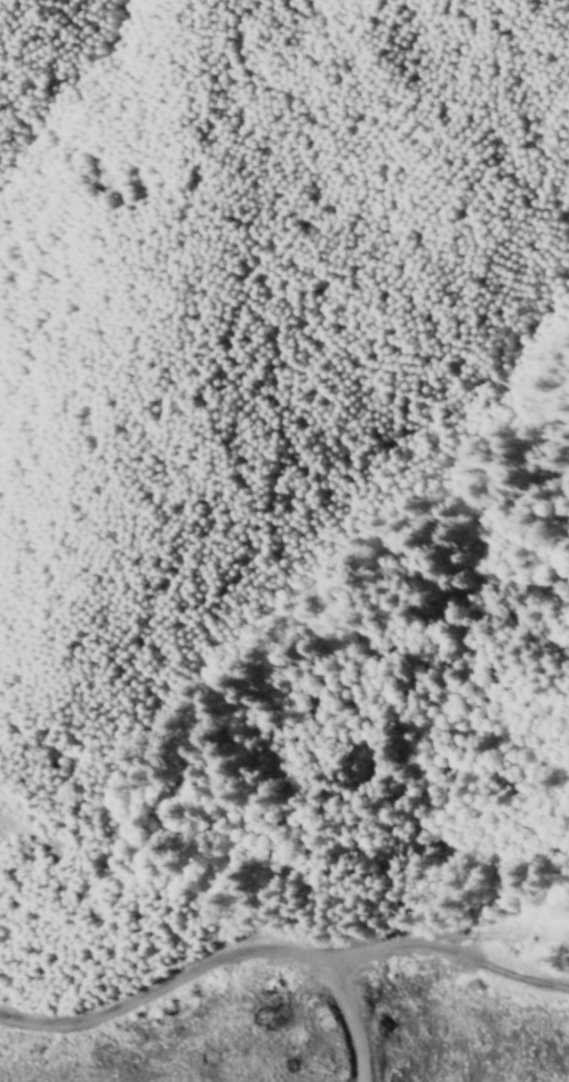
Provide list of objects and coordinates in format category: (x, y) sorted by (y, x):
road: (272, 1030)

